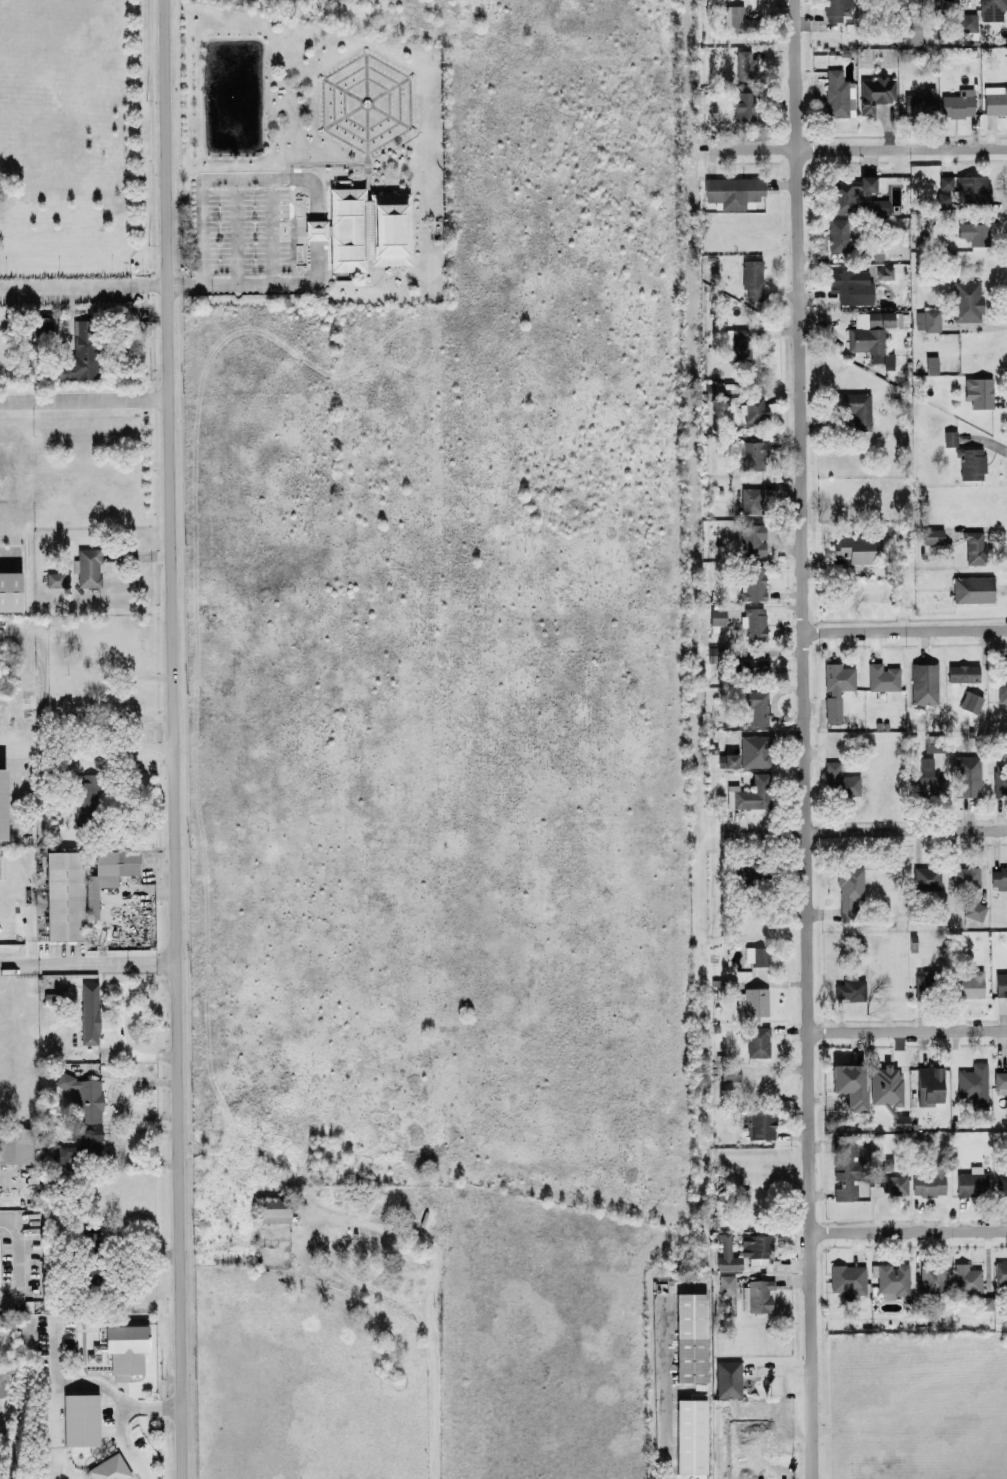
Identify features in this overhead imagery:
building: (919, 3)
building: (836, 9)
building: (992, 9)
building: (738, 19)
building: (910, 20)
building: (967, 21)
building: (910, 36)
building: (746, 64)
building: (875, 92)
building: (838, 93)
building: (995, 98)
building: (920, 101)
building: (958, 103)
building: (745, 104)
road: (857, 146)
road: (796, 168)
building: (945, 181)
building: (867, 182)
building: (972, 187)
building: (734, 191)
road: (317, 195)
building: (853, 199)
building: (316, 228)
building: (367, 228)
road: (235, 231)
road: (269, 231)
building: (974, 232)
building: (838, 234)
building: (885, 271)
building: (752, 278)
building: (851, 285)
road: (84, 286)
building: (967, 300)
building: (928, 318)
building: (42, 323)
building: (871, 335)
building: (741, 343)
building: (82, 352)
building: (932, 363)
building: (979, 391)
road: (85, 401)
building: (855, 406)
building: (755, 408)
building: (950, 437)
building: (754, 454)
building: (971, 462)
building: (752, 499)
building: (933, 535)
building: (753, 539)
building: (974, 546)
building: (858, 547)
building: (88, 566)
building: (54, 578)
building: (754, 582)
building: (972, 588)
building: (10, 590)
building: (718, 615)
building: (755, 623)
road: (904, 629)
building: (753, 664)
building: (963, 672)
building: (883, 676)
building: (1002, 680)
building: (924, 682)
building: (836, 687)
building: (971, 700)
building: (756, 705)
road: (171, 739)
road: (5, 745)
building: (756, 749)
road: (125, 753)
building: (731, 759)
building: (967, 775)
building: (1000, 778)
building: (840, 779)
building: (923, 779)
building: (751, 792)
building: (86, 801)
building: (2, 803)
road: (866, 831)
building: (108, 873)
building: (927, 875)
building: (965, 875)
building: (999, 877)
building: (850, 890)
building: (65, 894)
road: (805, 907)
building: (974, 909)
building: (756, 954)
road: (87, 962)
building: (927, 981)
building: (1001, 982)
building: (850, 988)
building: (51, 997)
building: (756, 1000)
building: (89, 1011)
road: (907, 1029)
building: (758, 1040)
building: (730, 1072)
building: (1001, 1081)
building: (973, 1082)
building: (850, 1083)
building: (885, 1083)
building: (929, 1084)
building: (83, 1095)
building: (900, 1121)
building: (761, 1123)
building: (89, 1141)
building: (15, 1144)
building: (886, 1162)
building: (847, 1168)
building: (971, 1180)
building: (929, 1181)
building: (1001, 1181)
building: (894, 1183)
building: (723, 1193)
building: (275, 1209)
road: (908, 1230)
building: (743, 1248)
road: (20, 1259)
building: (1001, 1271)
building: (932, 1277)
building: (967, 1277)
building: (892, 1278)
building: (848, 1279)
building: (727, 1283)
building: (757, 1294)
building: (986, 1301)
building: (691, 1336)
building: (123, 1348)
building: (8, 1375)
building: (728, 1378)
road: (437, 1381)
building: (81, 1418)
road: (119, 1419)
road: (666, 1426)
building: (691, 1435)
building: (109, 1468)

